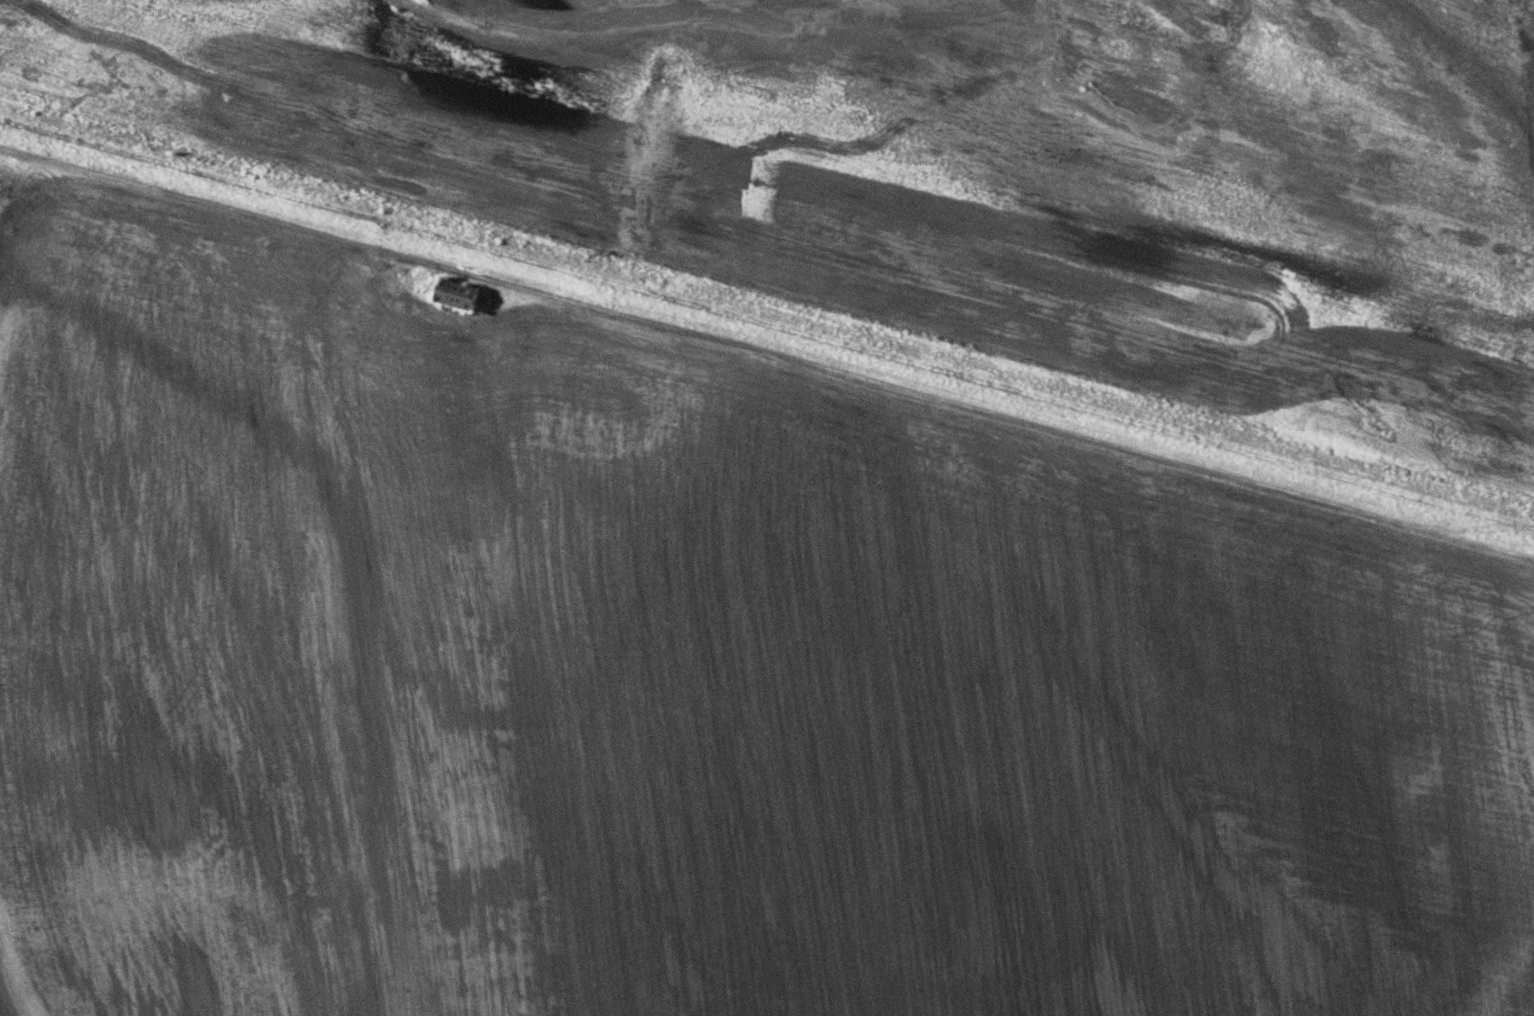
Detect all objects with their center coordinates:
road: (767, 280)

